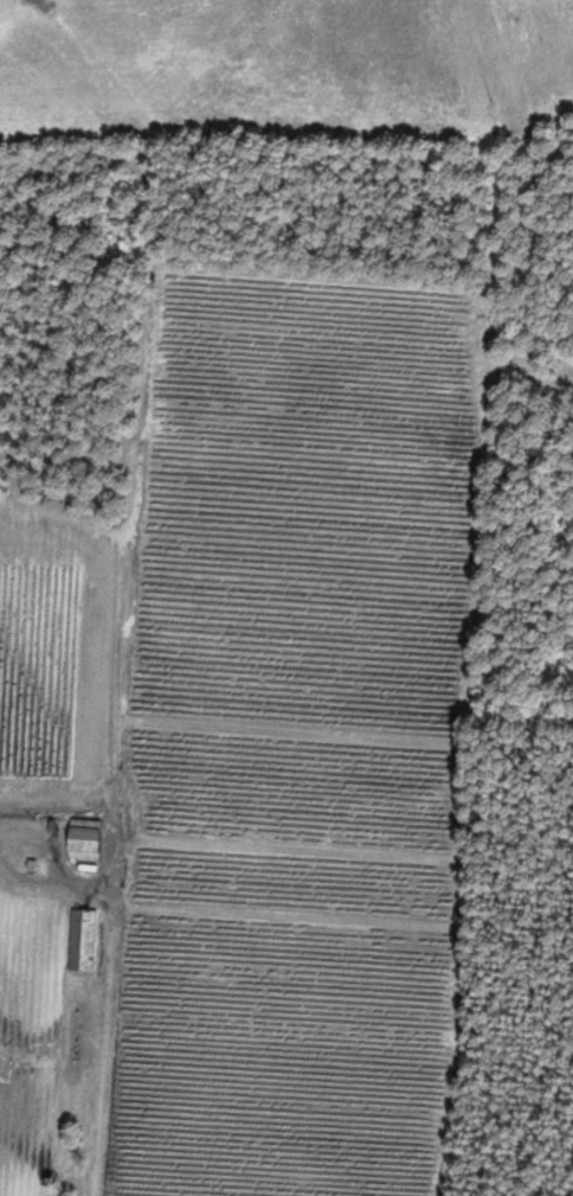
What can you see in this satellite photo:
building: (79, 837)
building: (82, 939)

